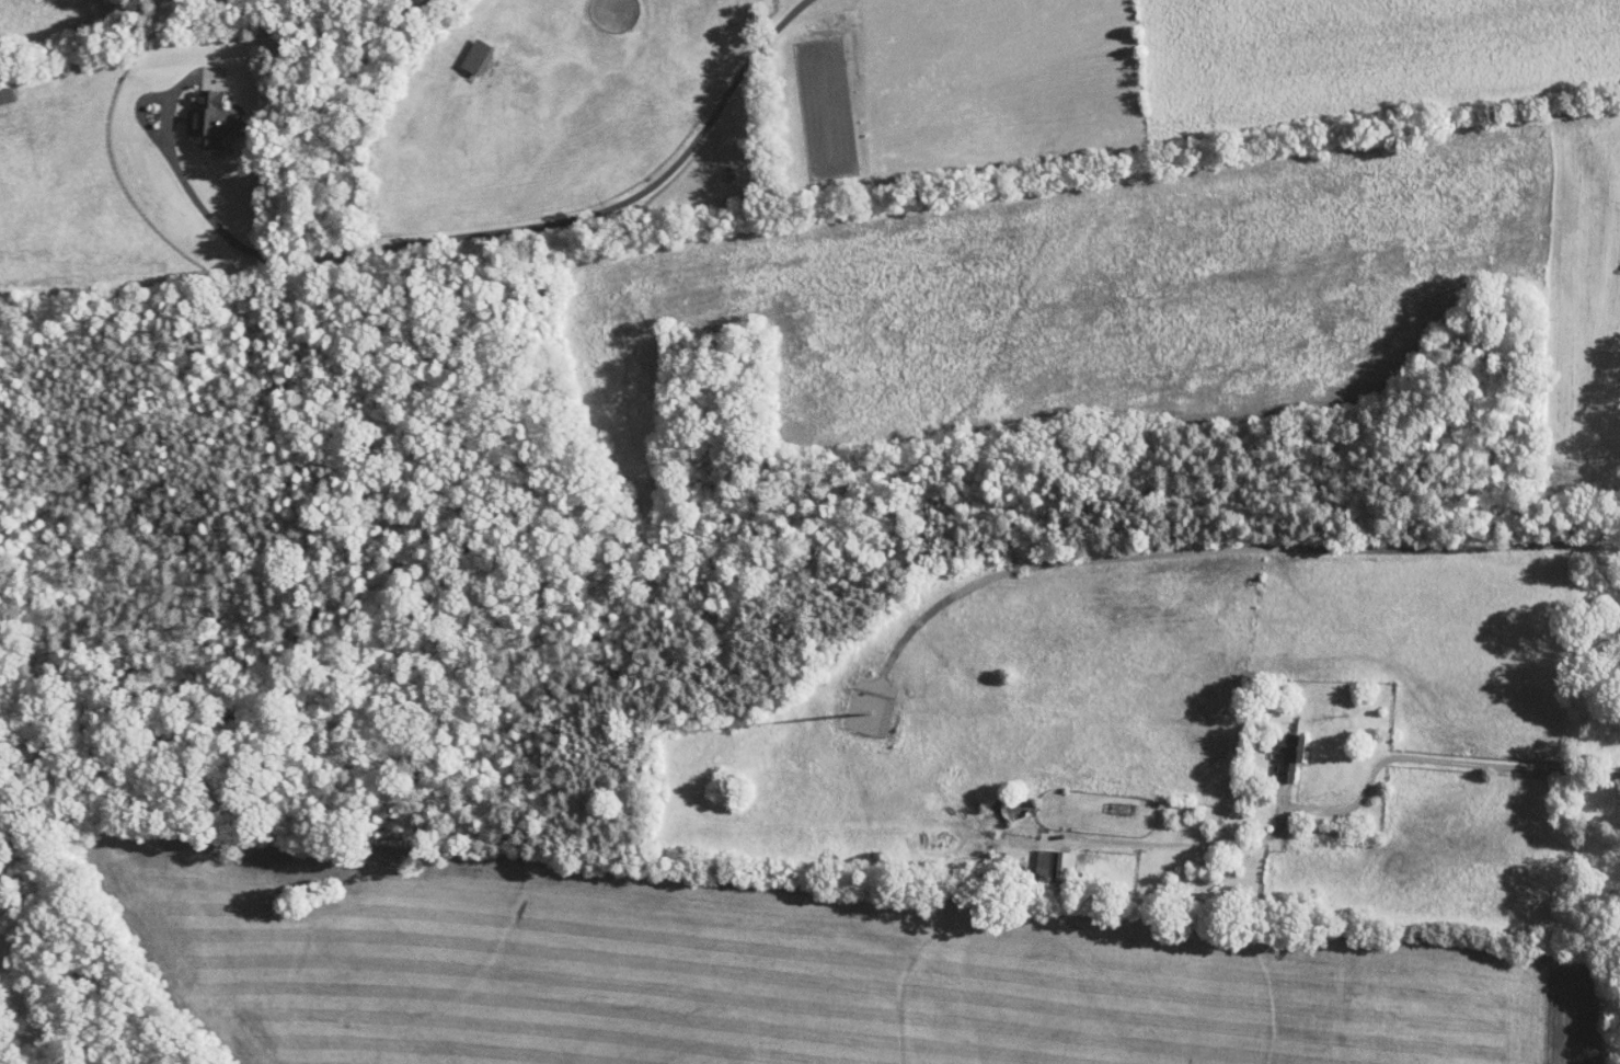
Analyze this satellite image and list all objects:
building: (463, 48)
building: (0, 91)
road: (149, 96)
building: (195, 112)
road: (510, 229)
road: (1233, 550)
building: (1275, 747)
road: (1349, 806)
building: (1041, 858)

